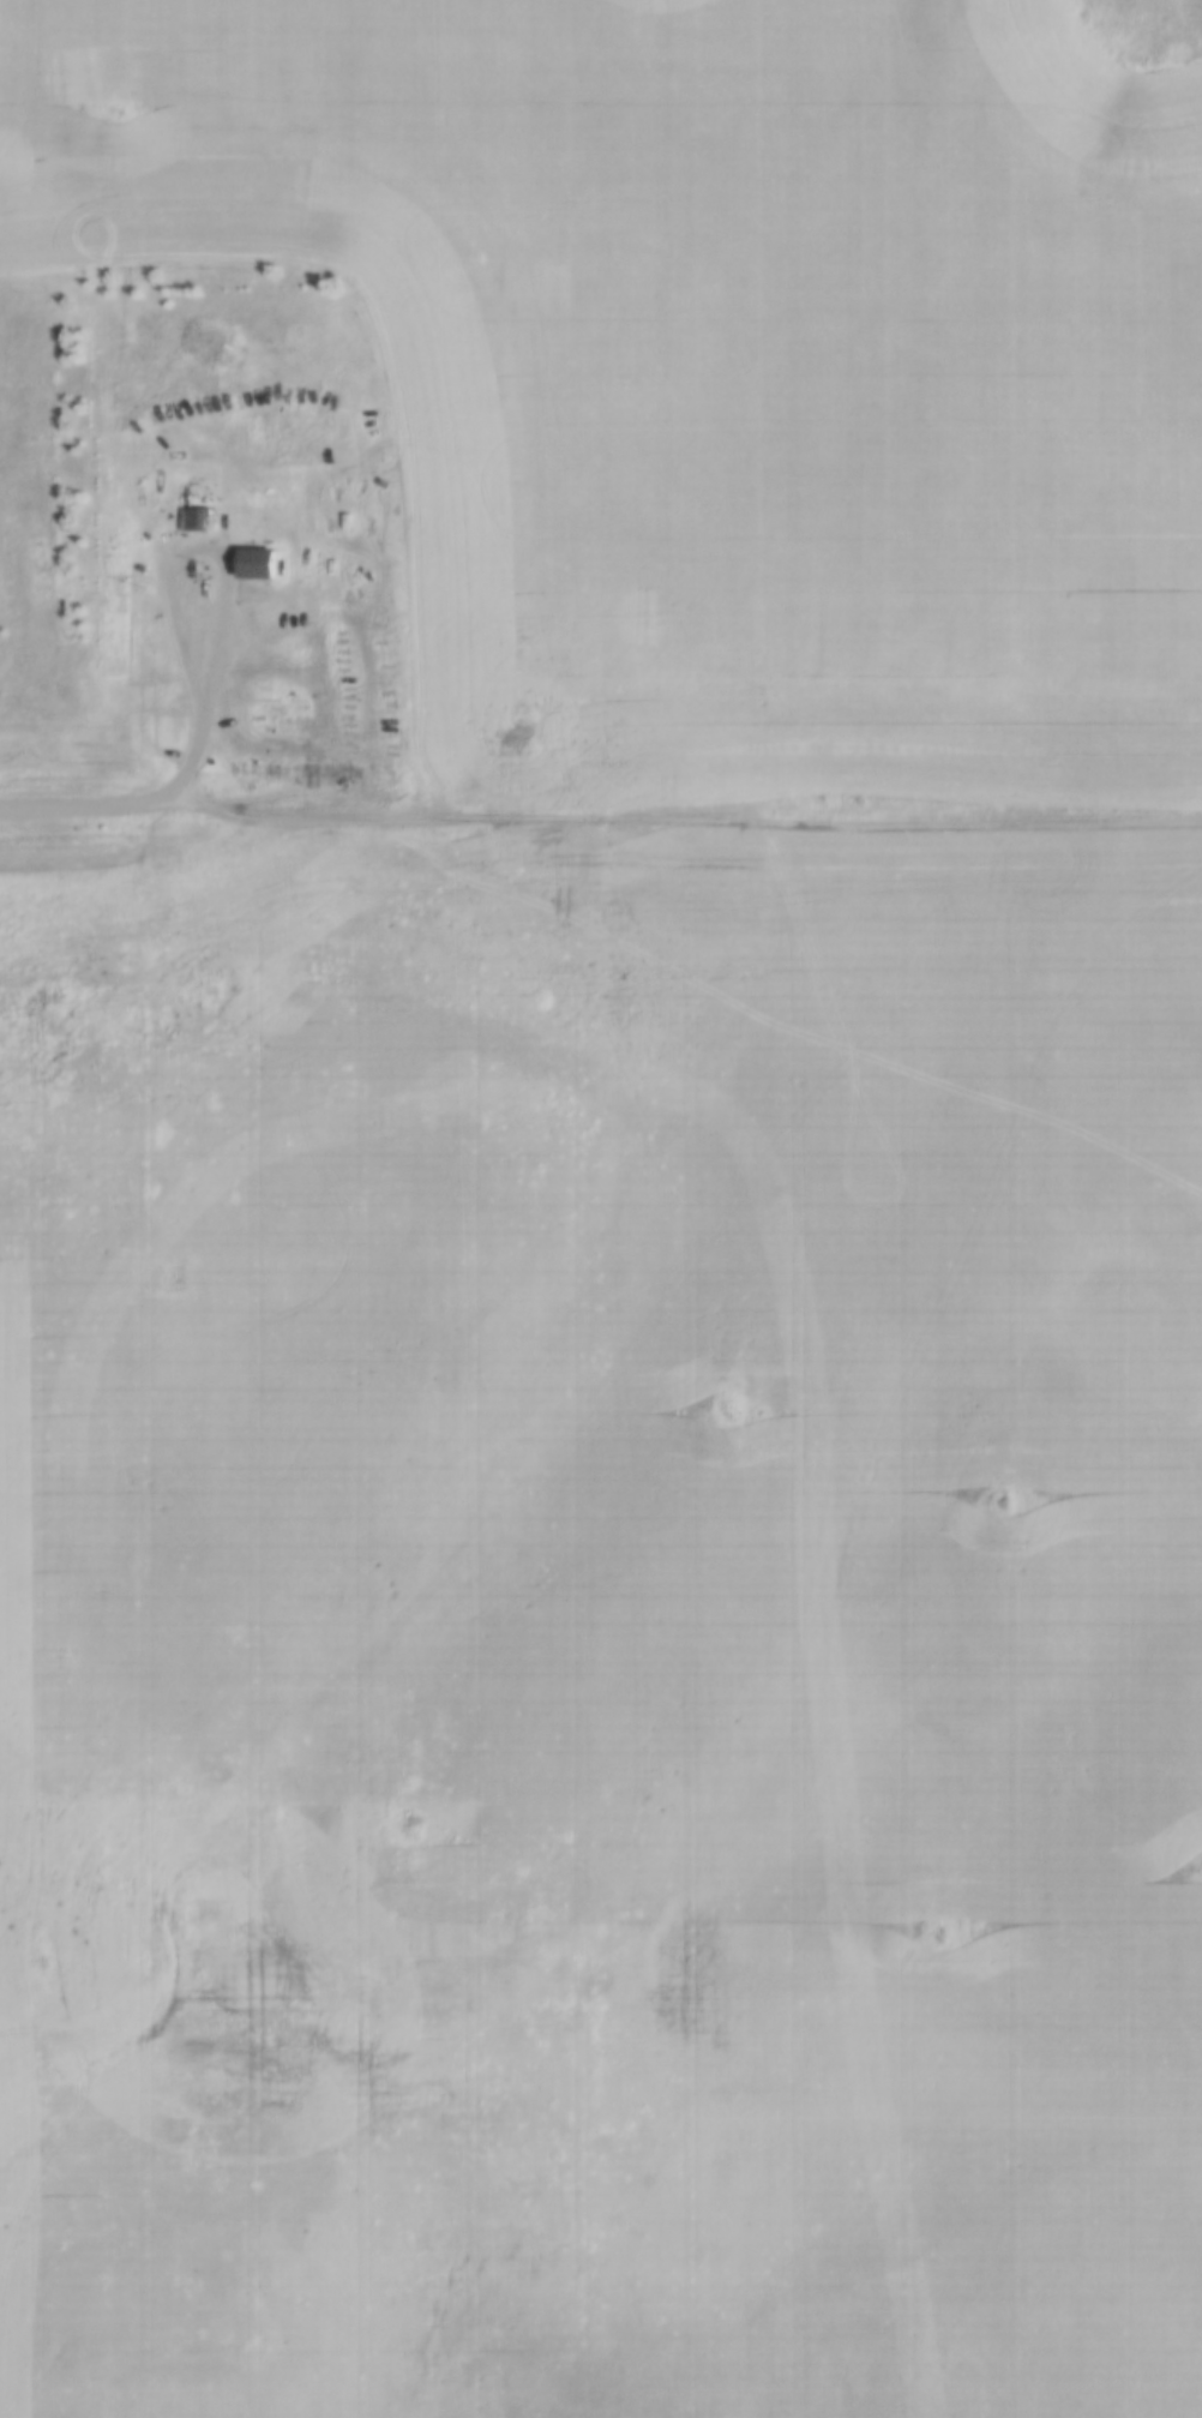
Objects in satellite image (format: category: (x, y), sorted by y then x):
building: (203, 512)
building: (263, 556)
road: (222, 564)
road: (77, 804)
road: (677, 820)

